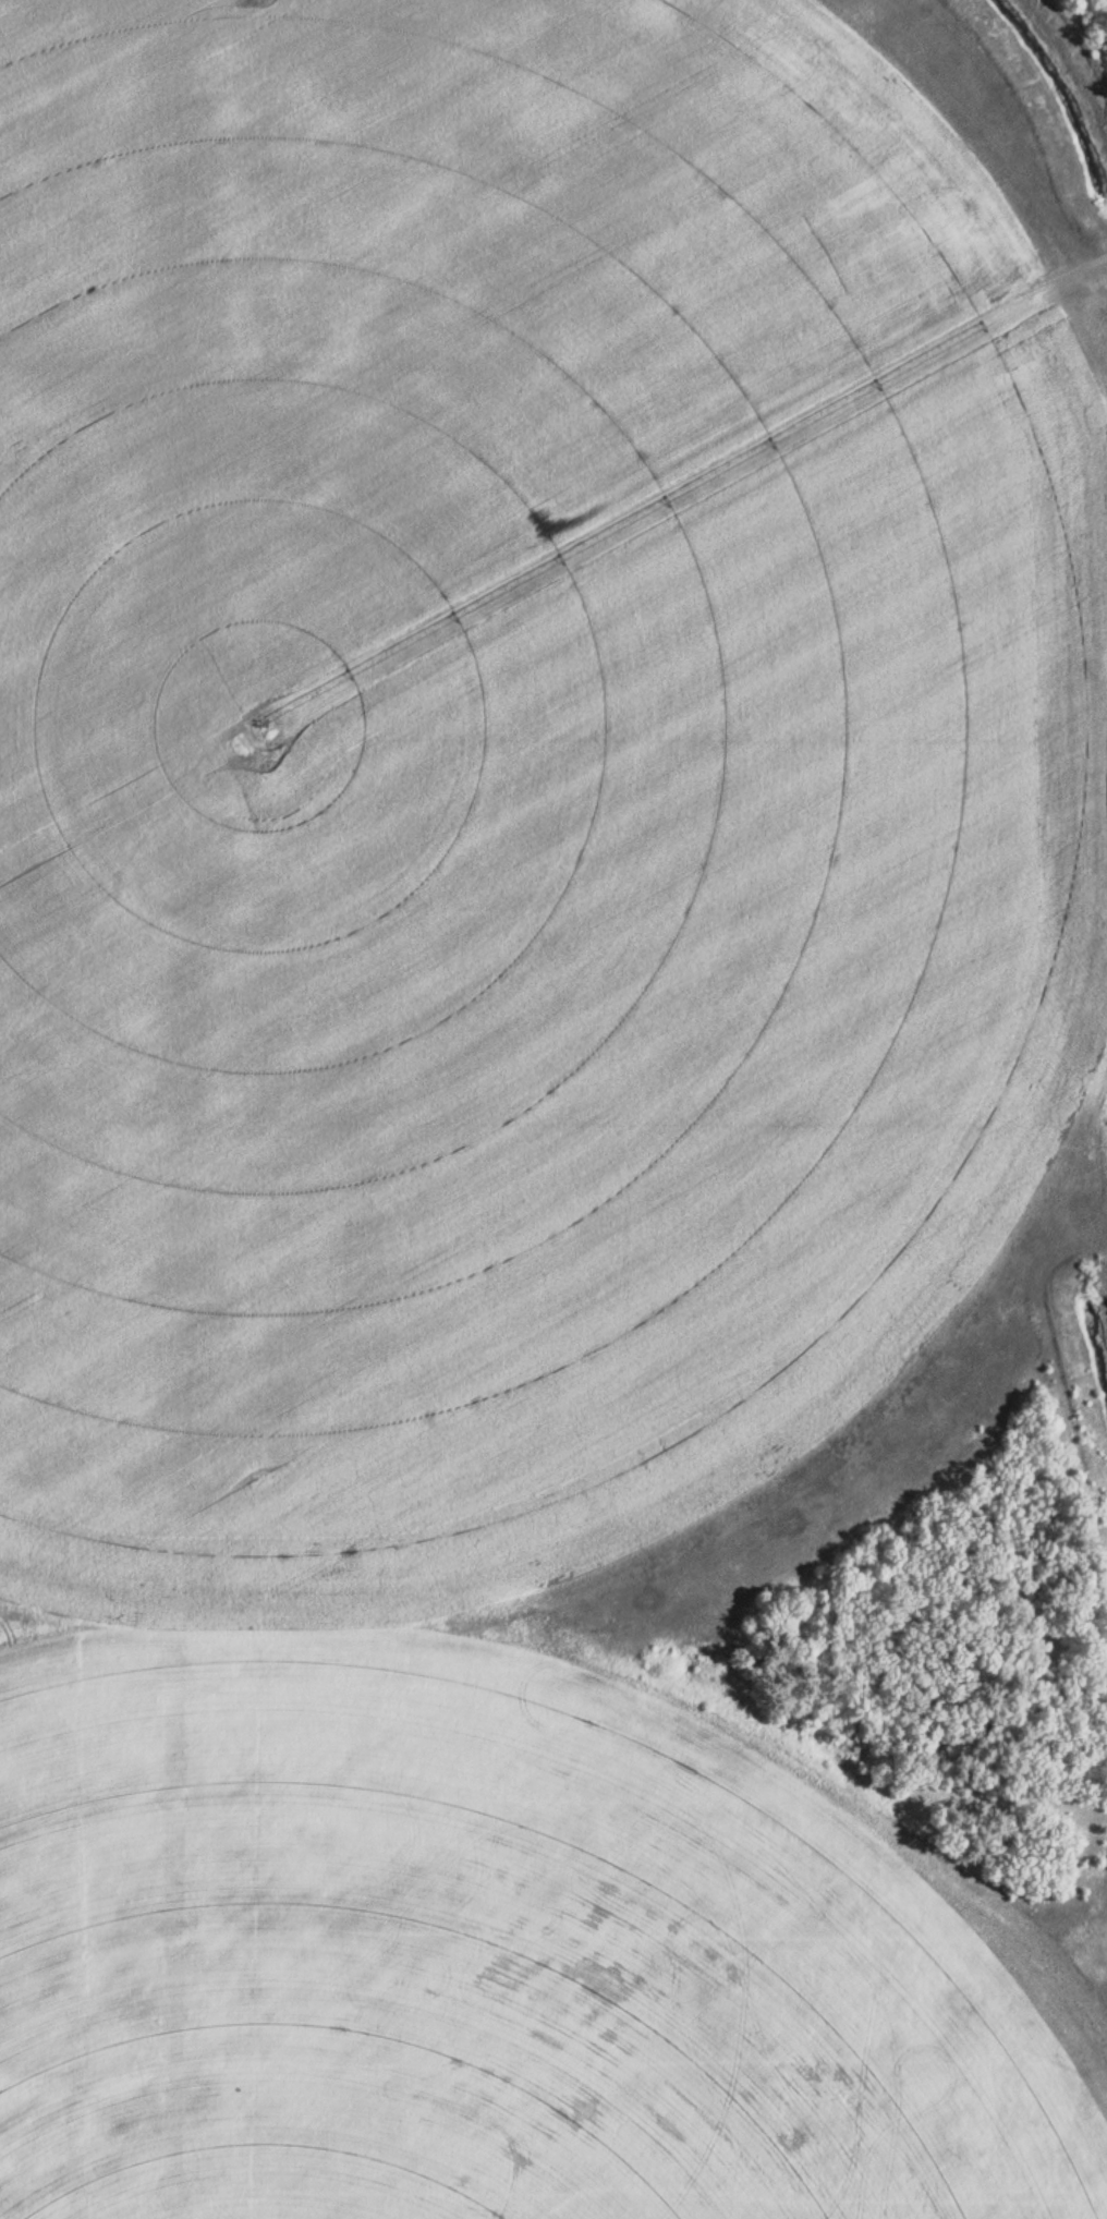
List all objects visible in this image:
wastewater plant: (553, 1109)

